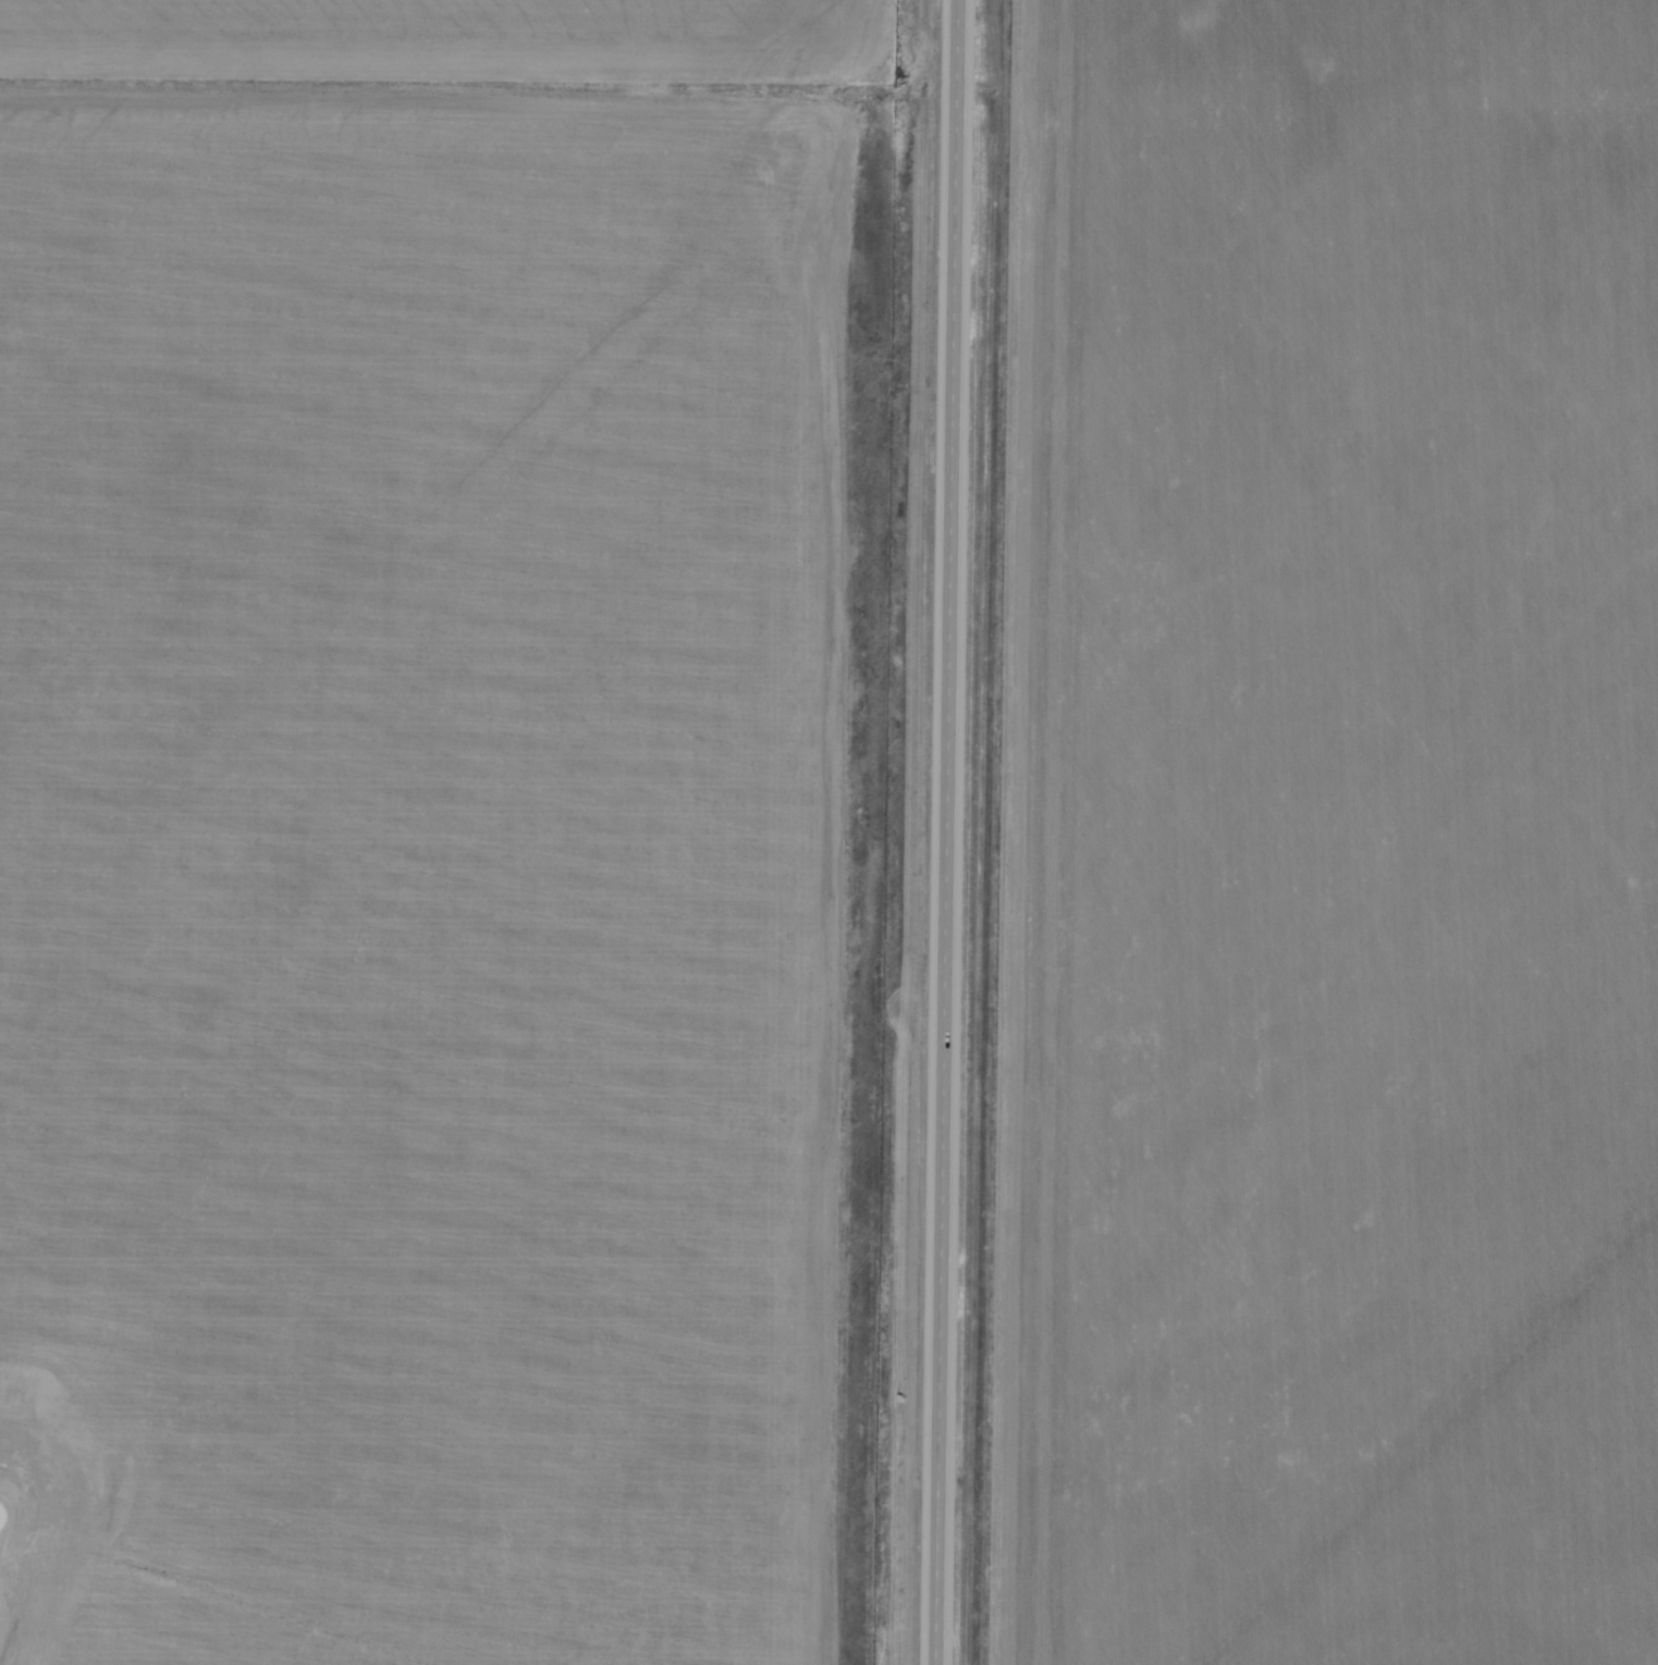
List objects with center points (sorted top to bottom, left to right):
road: (941, 832)

